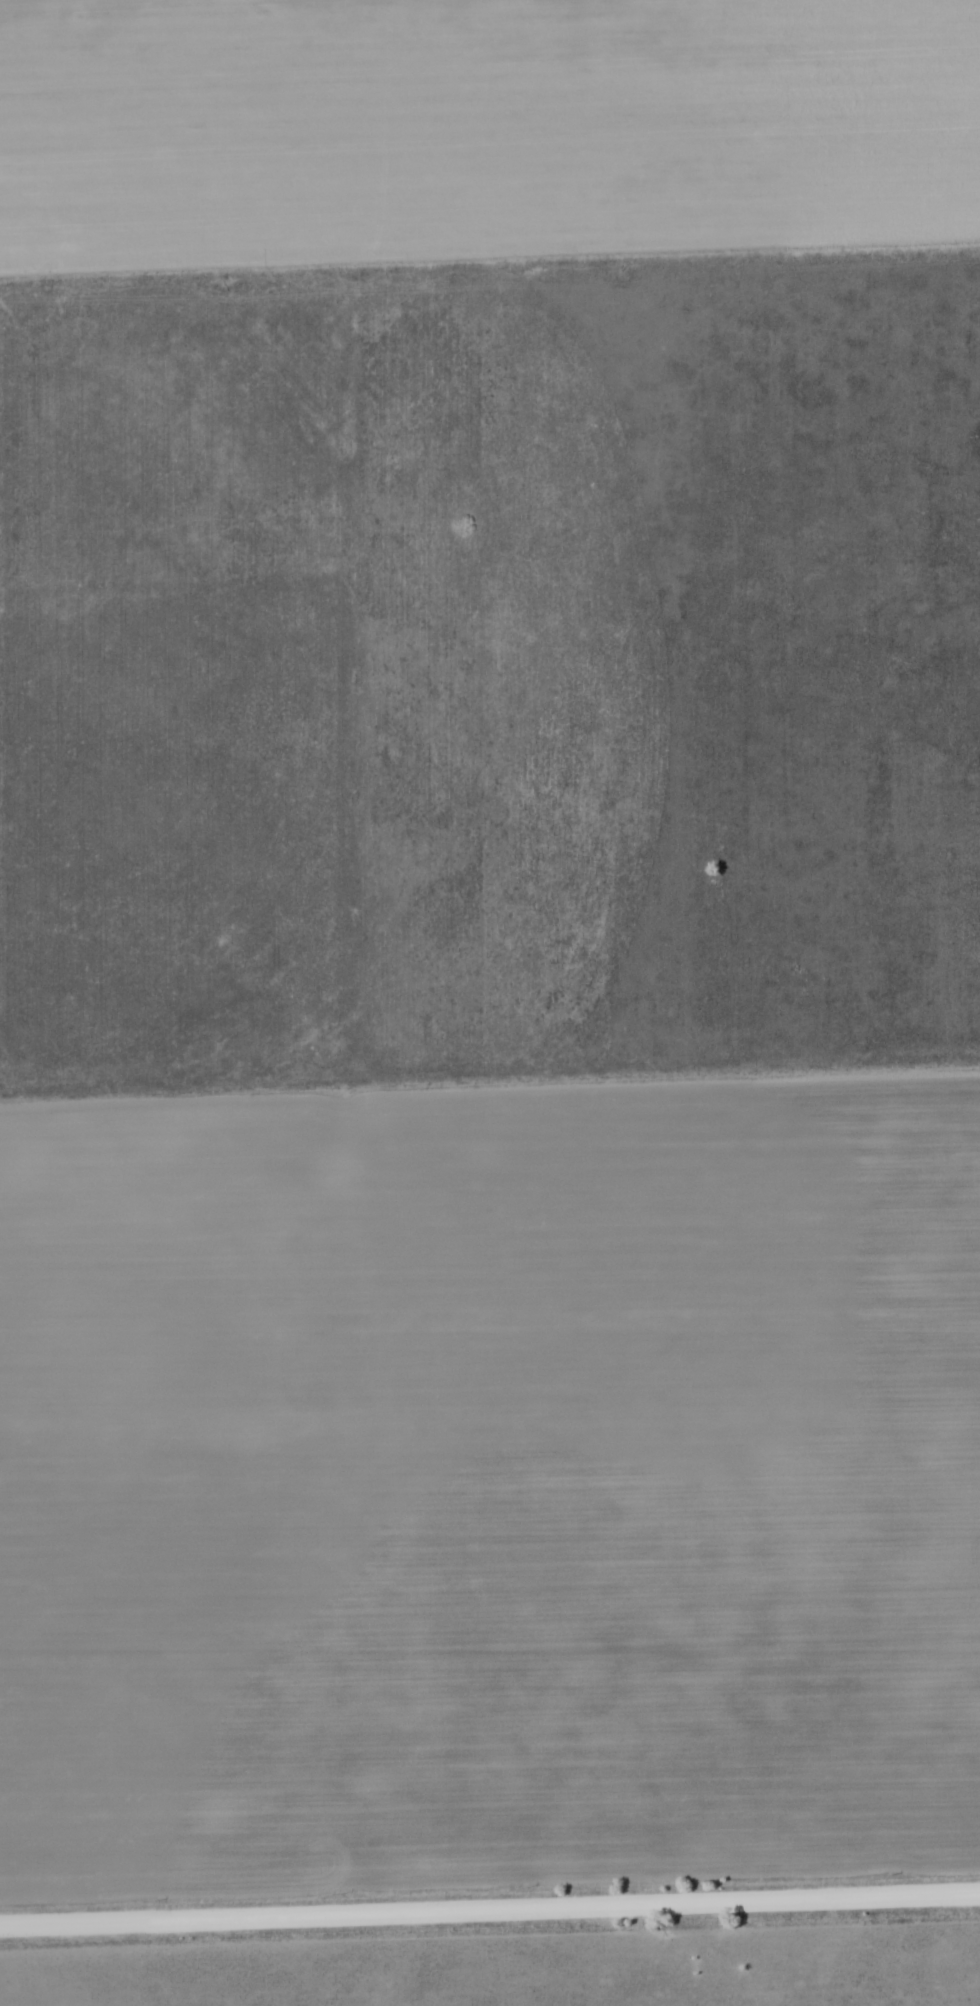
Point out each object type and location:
road: (489, 1914)

